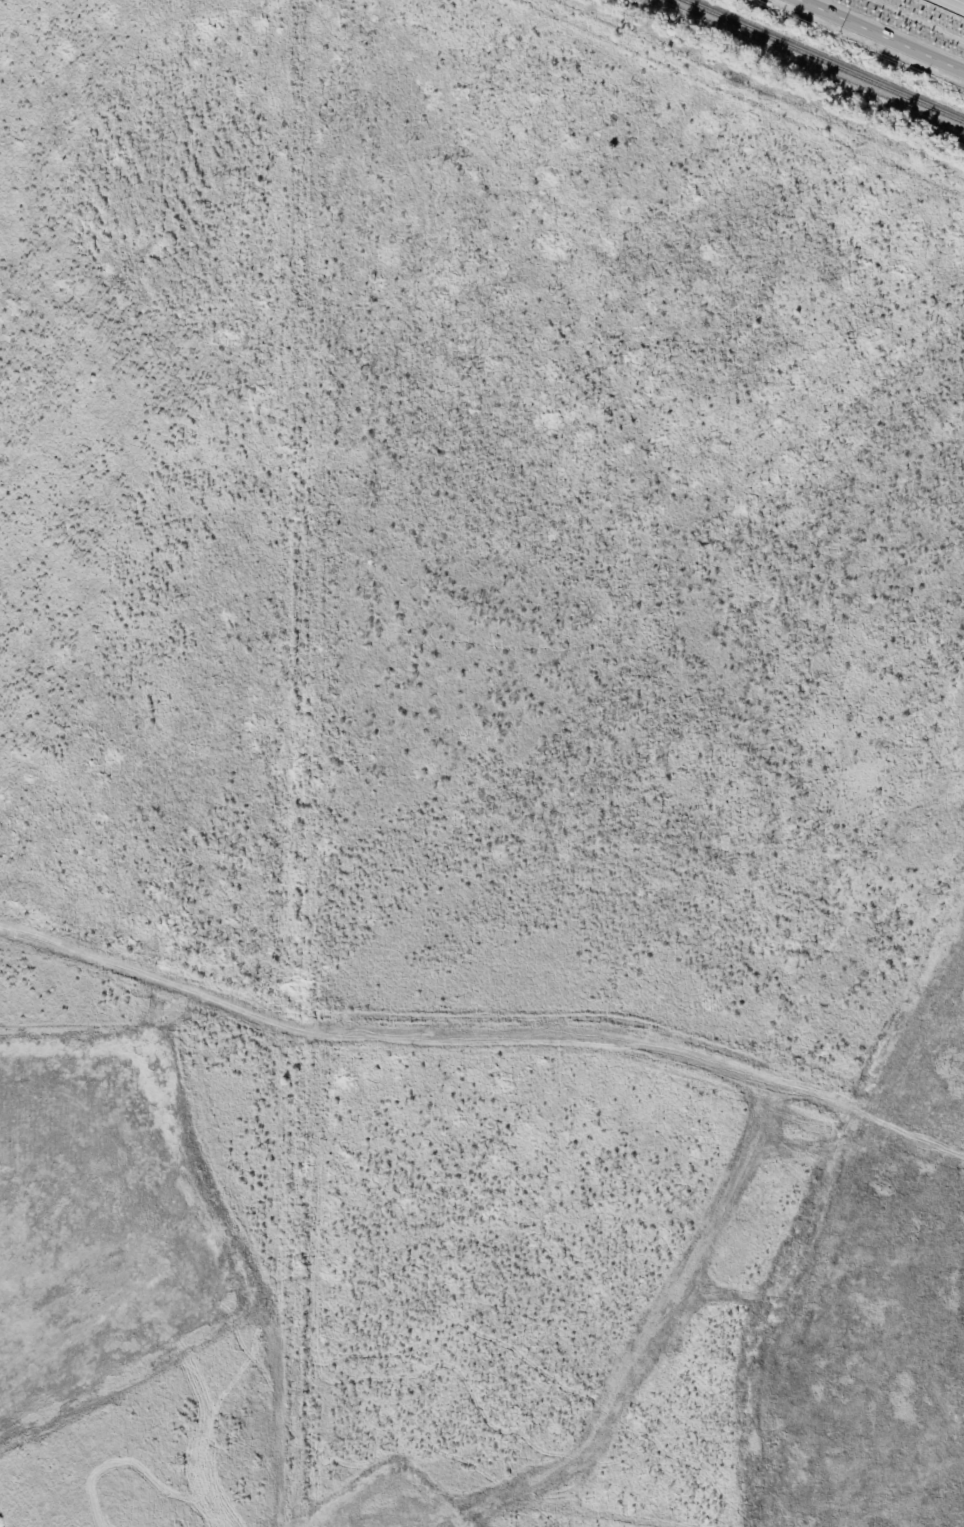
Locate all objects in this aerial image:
road: (893, 30)
railway: (821, 62)
road: (483, 1036)
railway: (482, 1290)

